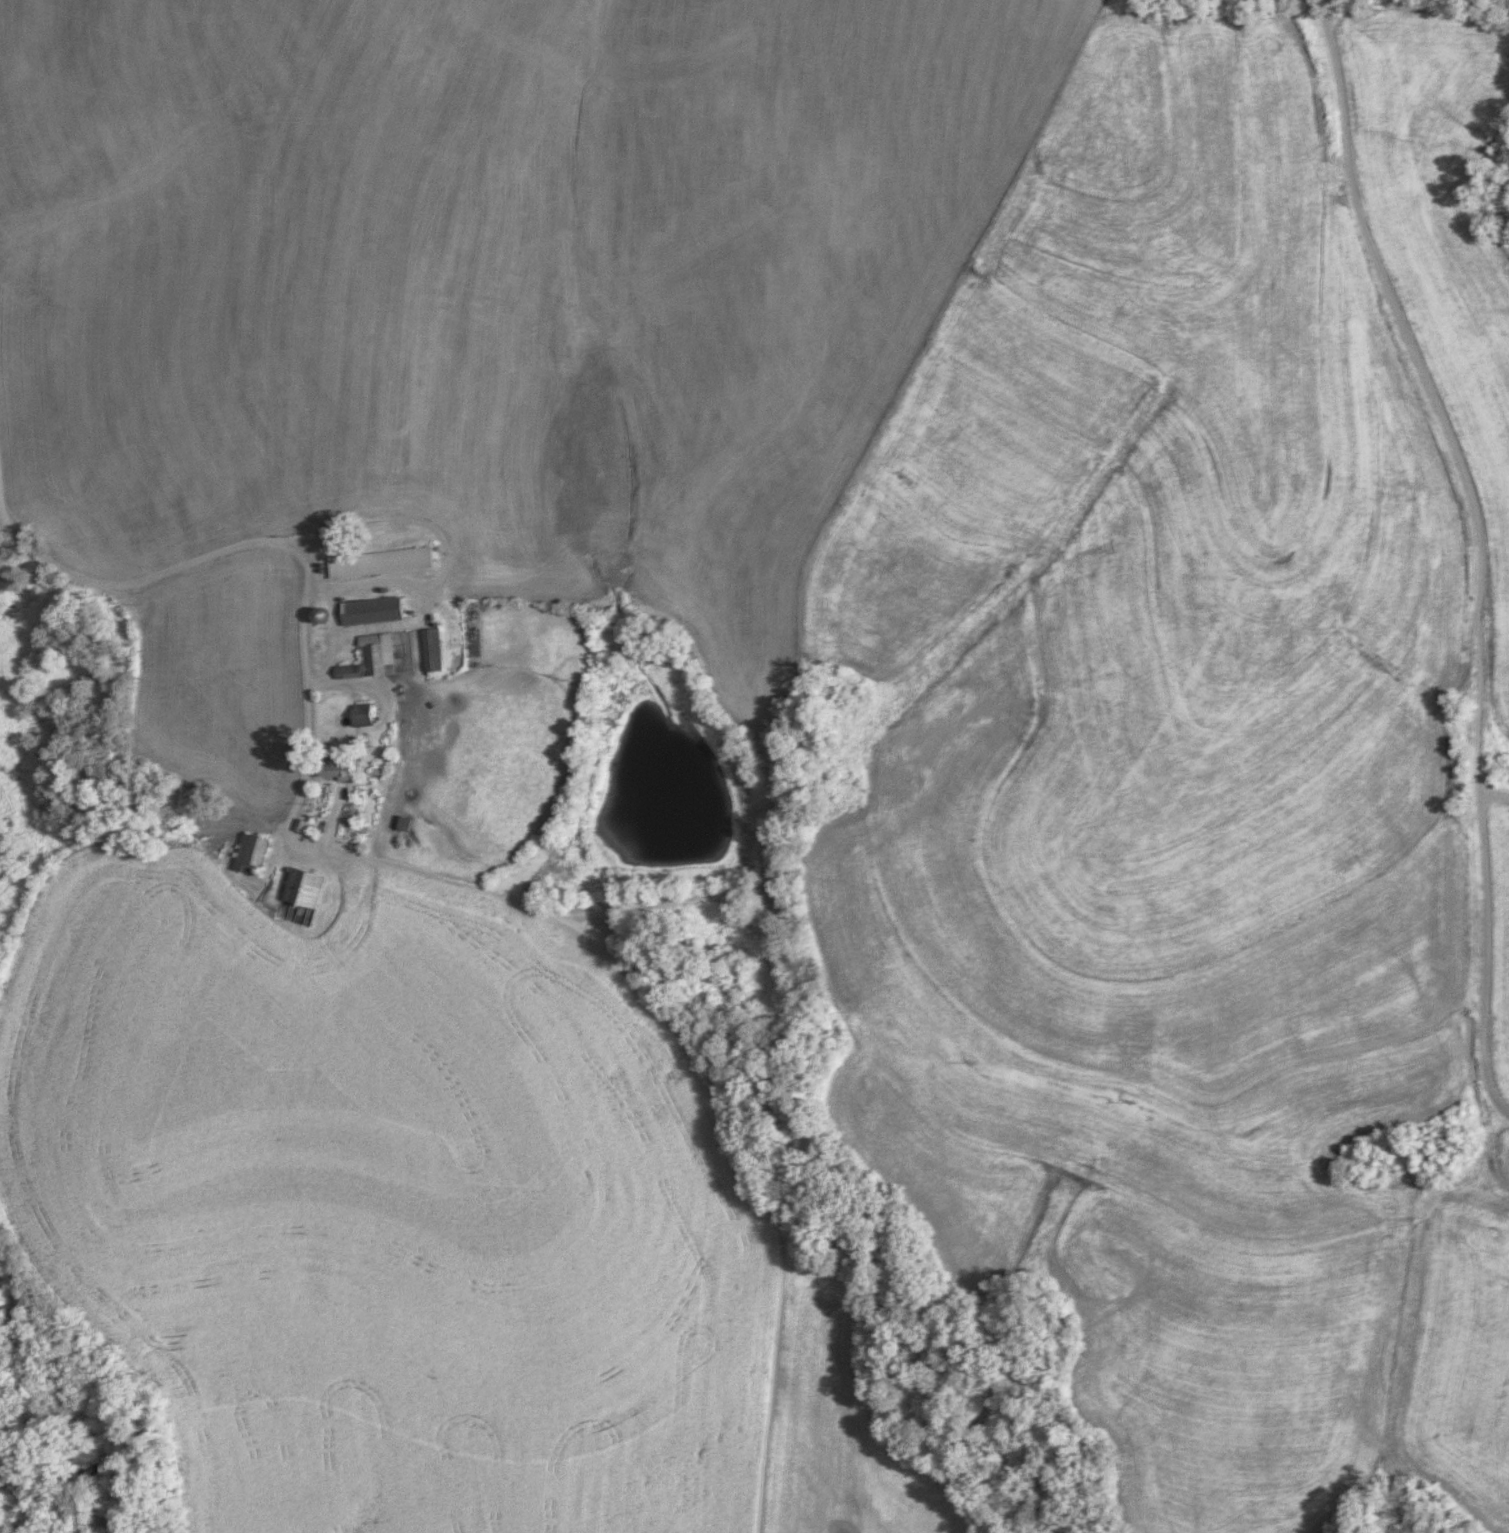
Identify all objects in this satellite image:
road: (1477, 549)
road: (438, 554)
road: (297, 559)
building: (378, 562)
building: (369, 611)
road: (323, 643)
building: (430, 648)
building: (369, 657)
road: (342, 685)
building: (360, 719)
building: (333, 766)
building: (401, 822)
building: (301, 826)
building: (249, 854)
building: (302, 887)

